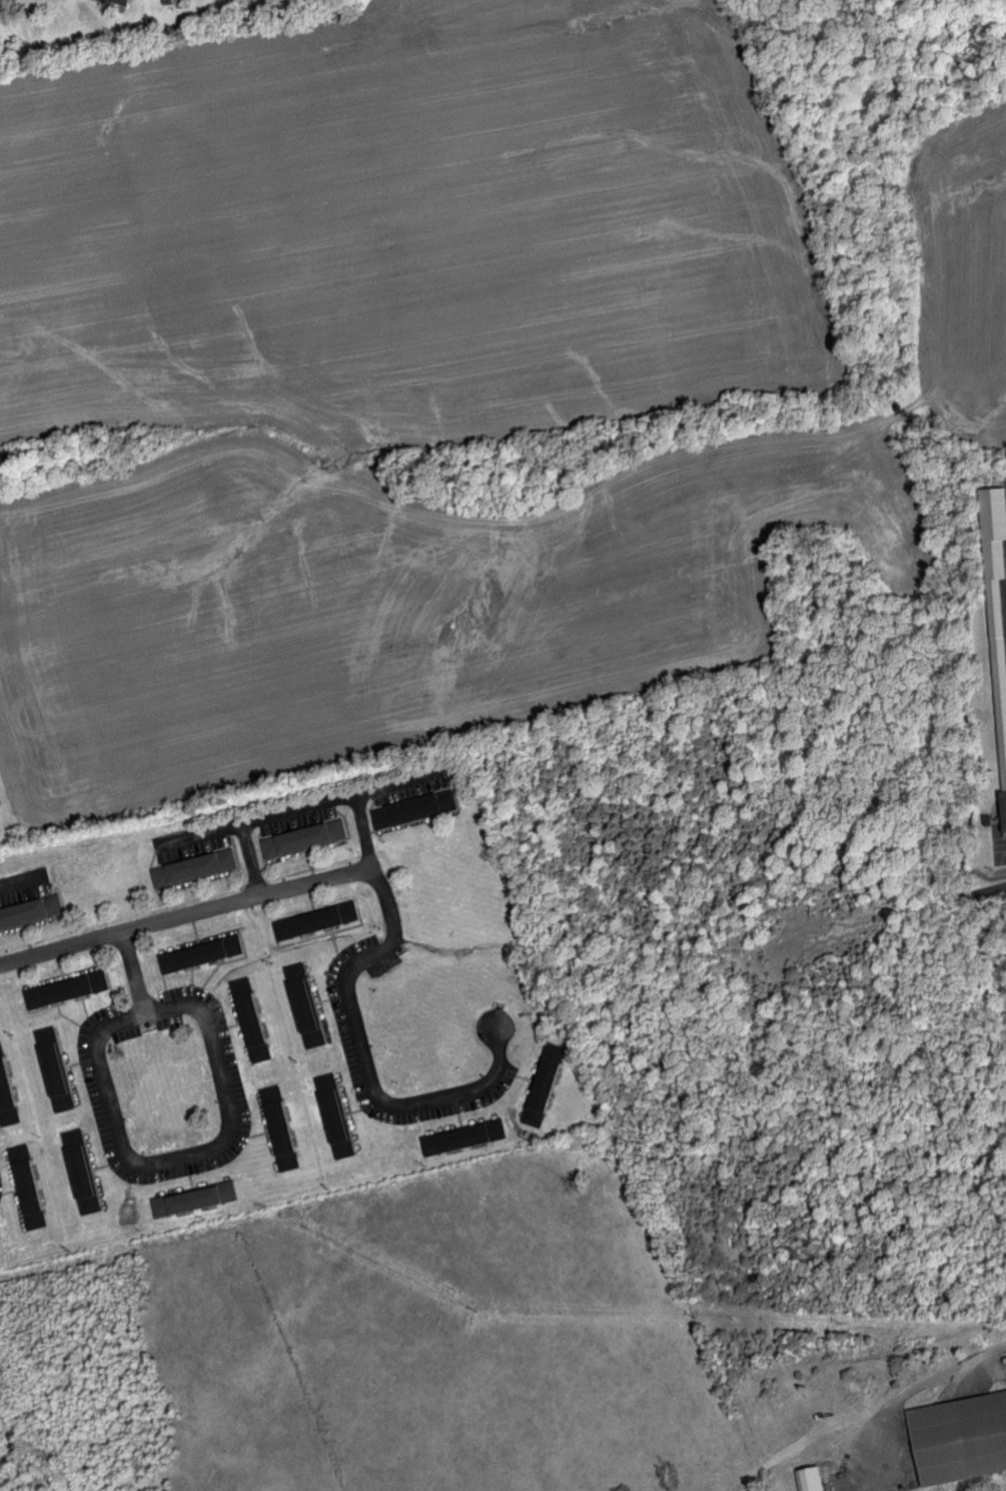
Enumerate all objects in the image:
building: (178, 1)
building: (128, 2)
building: (998, 603)
building: (416, 809)
road: (295, 811)
road: (364, 835)
building: (307, 839)
road: (249, 862)
building: (197, 868)
road: (19, 881)
road: (385, 887)
road: (998, 888)
building: (29, 911)
building: (319, 921)
building: (203, 953)
building: (68, 989)
building: (309, 1004)
building: (255, 1017)
building: (56, 1068)
building: (549, 1084)
building: (7, 1090)
building: (338, 1115)
building: (284, 1126)
building: (467, 1137)
road: (156, 1161)
building: (83, 1170)
building: (29, 1184)
building: (196, 1199)
building: (0, 1254)
road: (1001, 1353)
building: (960, 1438)
building: (812, 1479)

